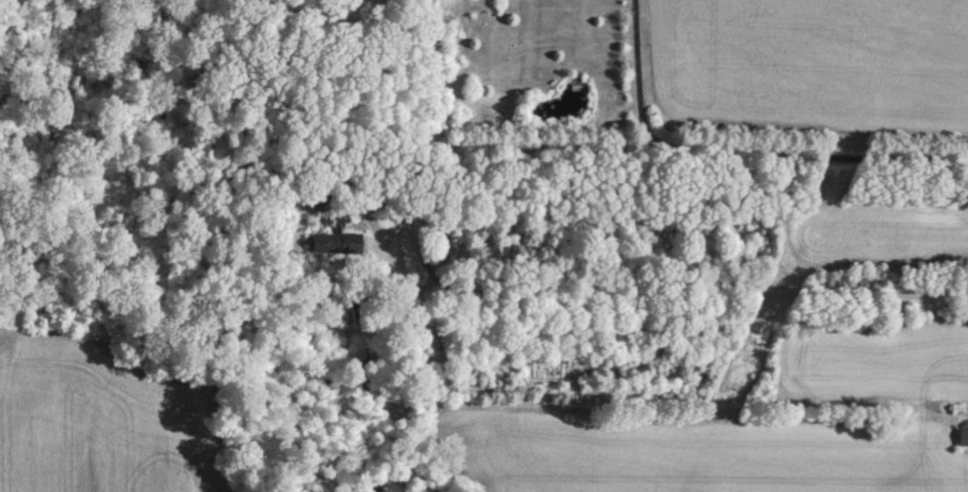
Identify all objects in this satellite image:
road: (738, 153)
road: (656, 298)
building: (963, 436)

